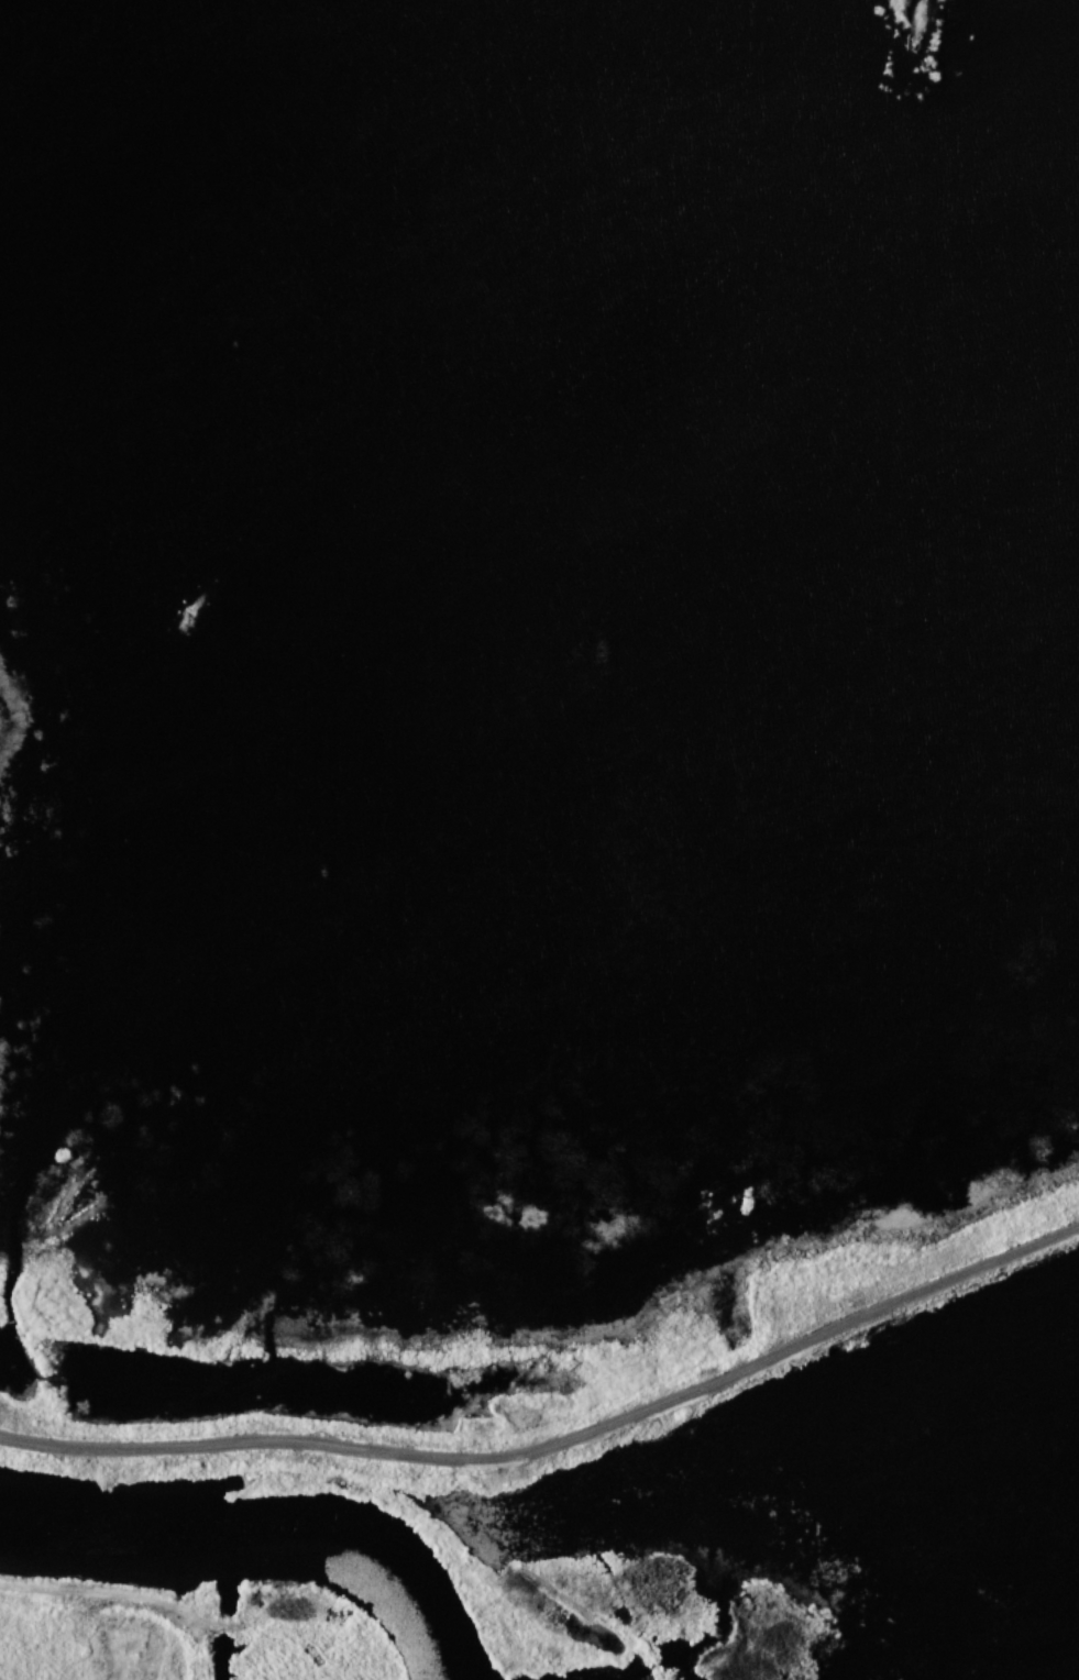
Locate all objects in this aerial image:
river: (278, 1522)

